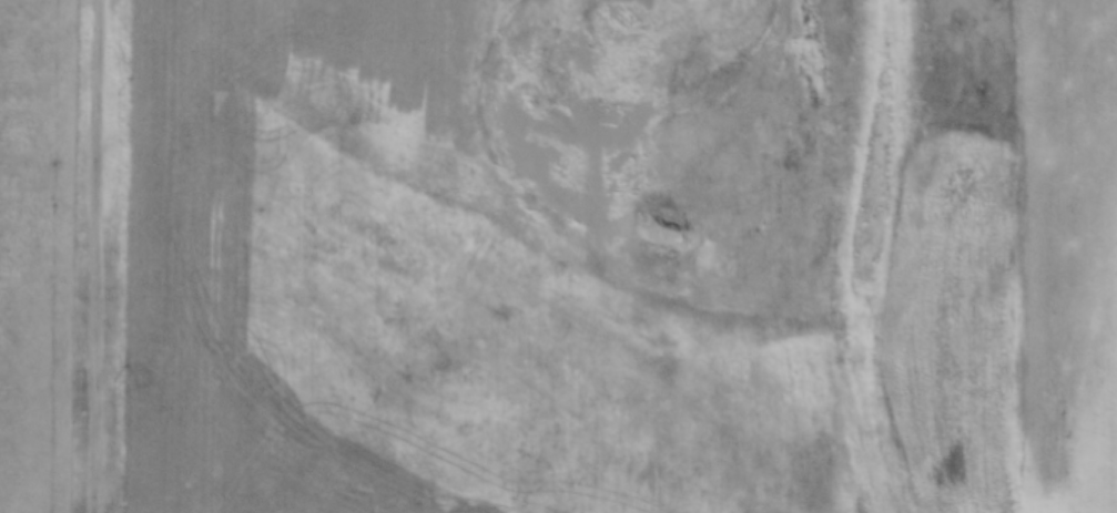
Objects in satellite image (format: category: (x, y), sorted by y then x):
road: (597, 255)
road: (97, 256)
quarry: (617, 281)

